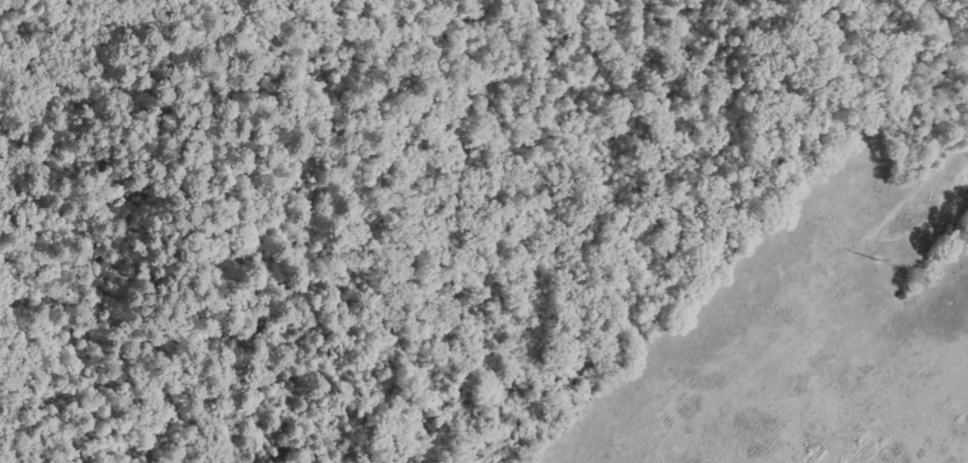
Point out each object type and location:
power tower: (878, 260)

